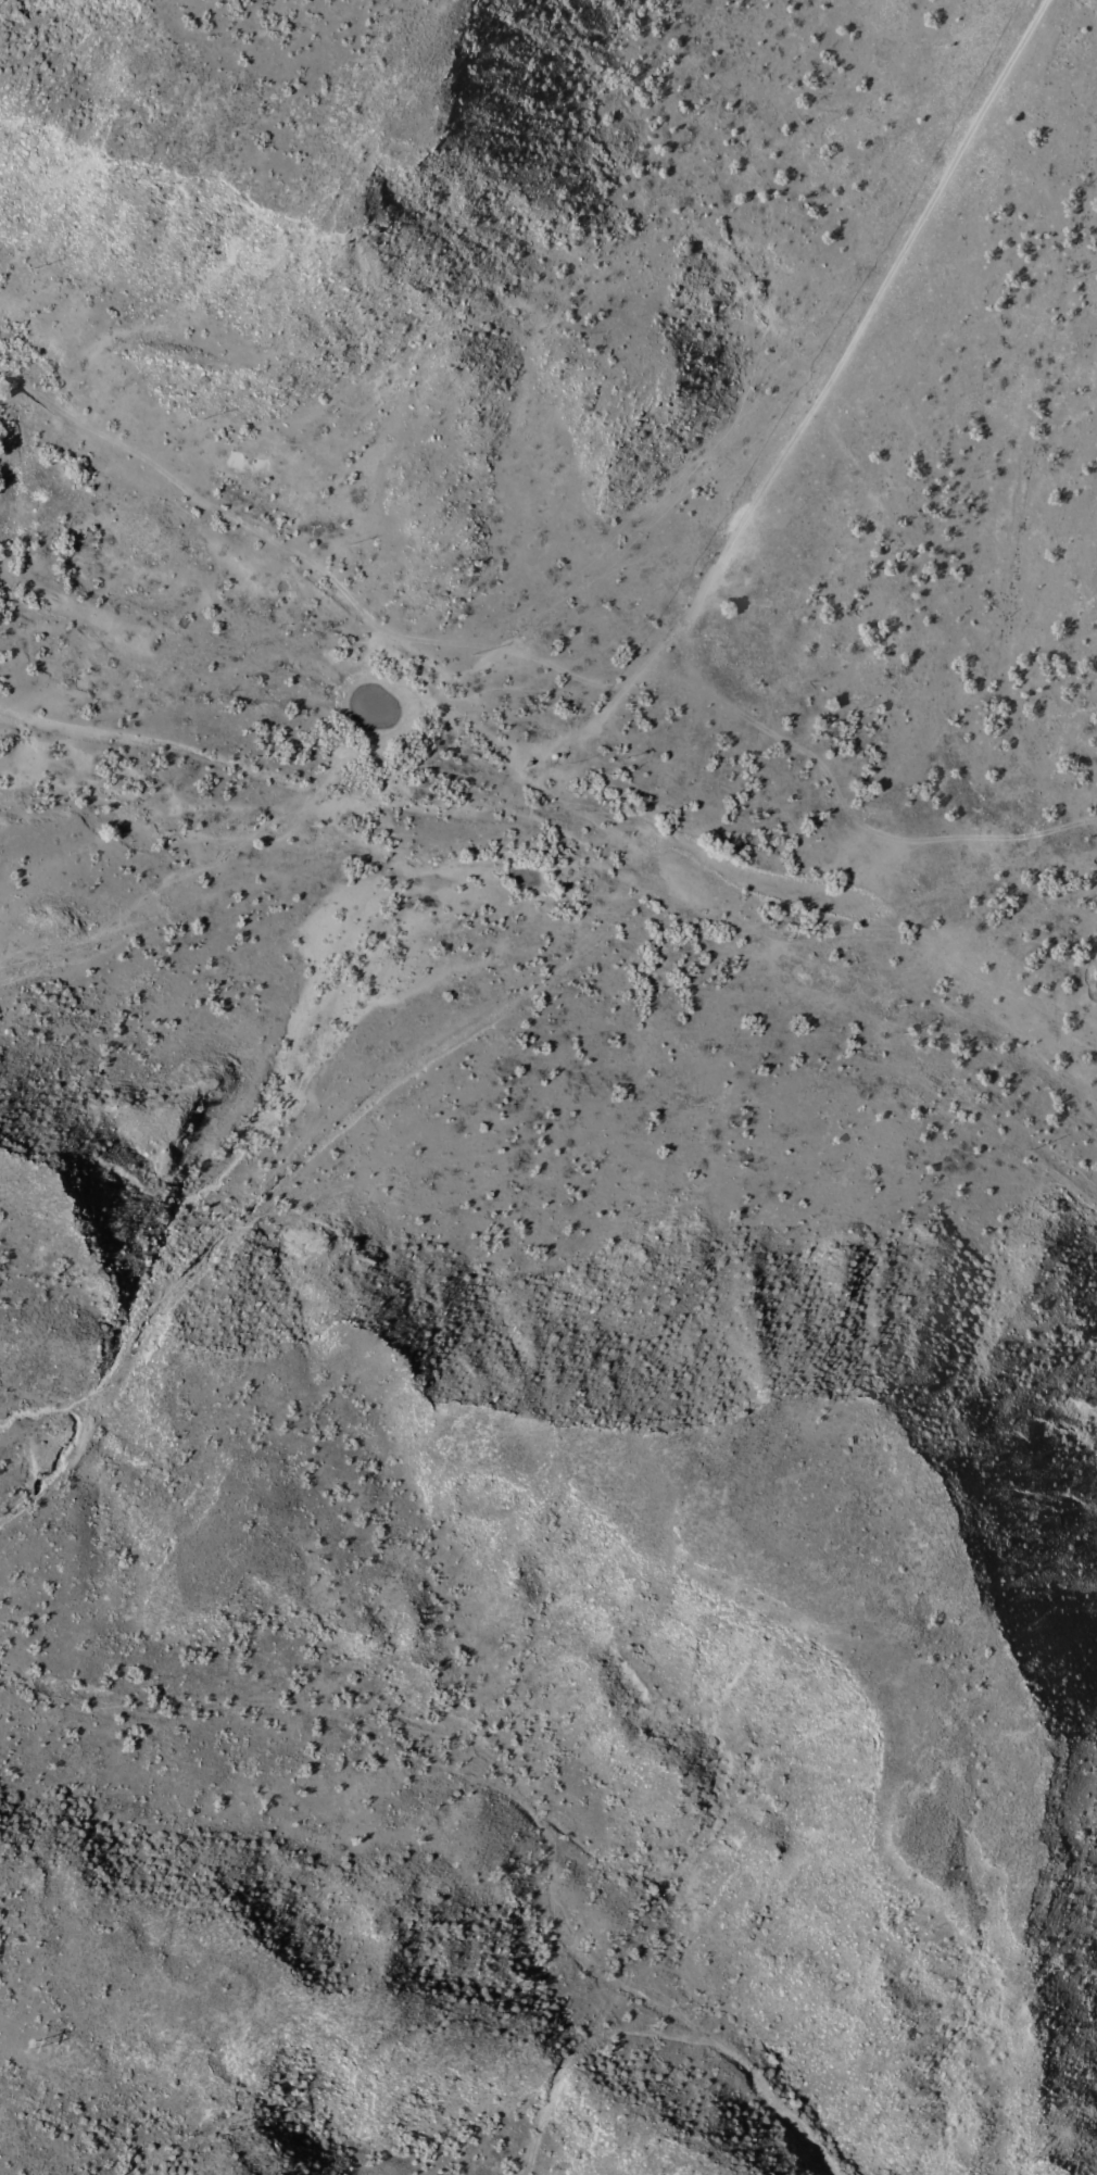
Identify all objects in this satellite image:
power tower: (28, 2047)
power tower: (230, 2130)

